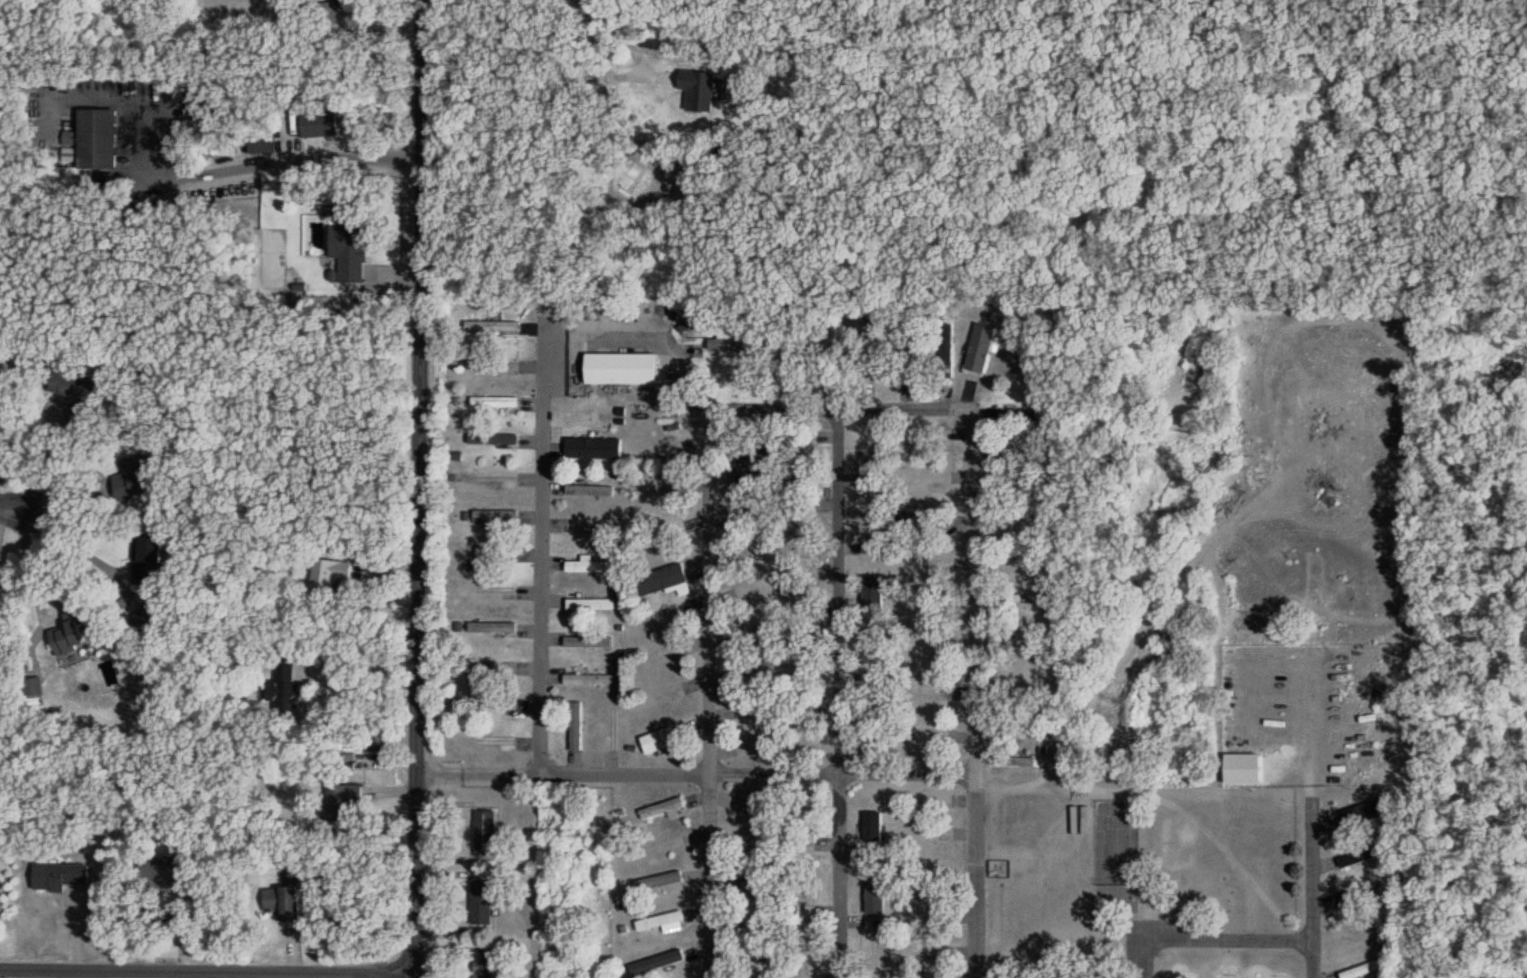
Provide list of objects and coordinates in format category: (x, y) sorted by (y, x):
building: (325, 13)
road: (625, 67)
building: (697, 89)
building: (201, 125)
building: (96, 138)
building: (256, 148)
road: (292, 160)
building: (335, 243)
building: (491, 326)
building: (730, 342)
building: (792, 347)
building: (979, 348)
building: (946, 349)
building: (867, 350)
road: (671, 351)
building: (906, 355)
building: (493, 364)
building: (619, 367)
building: (75, 395)
building: (493, 401)
road: (840, 410)
building: (1037, 415)
building: (1007, 416)
building: (928, 432)
building: (491, 439)
building: (592, 450)
building: (804, 457)
building: (138, 465)
building: (755, 469)
road: (96, 473)
building: (491, 478)
building: (136, 485)
road: (418, 489)
building: (590, 490)
building: (662, 492)
building: (756, 507)
road: (14, 514)
building: (494, 514)
building: (592, 527)
building: (1018, 531)
building: (803, 546)
road: (76, 547)
road: (540, 547)
building: (756, 548)
building: (496, 552)
building: (146, 559)
building: (591, 565)
road: (32, 567)
building: (662, 573)
building: (327, 574)
building: (589, 603)
building: (927, 604)
building: (1016, 606)
building: (492, 627)
building: (587, 641)
building: (68, 643)
building: (1006, 647)
building: (872, 654)
road: (360, 664)
building: (756, 668)
building: (805, 672)
building: (587, 679)
building: (284, 686)
building: (931, 692)
road: (838, 693)
road: (708, 694)
road: (975, 694)
building: (497, 702)
building: (873, 723)
building: (614, 725)
building: (805, 733)
building: (658, 740)
building: (494, 741)
building: (1027, 762)
road: (696, 772)
road: (1097, 787)
building: (340, 799)
building: (661, 808)
building: (1362, 813)
building: (809, 819)
building: (484, 832)
building: (750, 846)
building: (1361, 855)
building: (1001, 869)
building: (58, 876)
building: (162, 877)
building: (927, 882)
building: (741, 883)
road: (1311, 884)
building: (1363, 894)
building: (281, 902)
building: (480, 902)
building: (932, 915)
building: (659, 920)
building: (753, 924)
road: (1226, 939)
road: (1139, 958)
building: (751, 961)
building: (656, 962)
building: (482, 964)
road: (205, 973)

